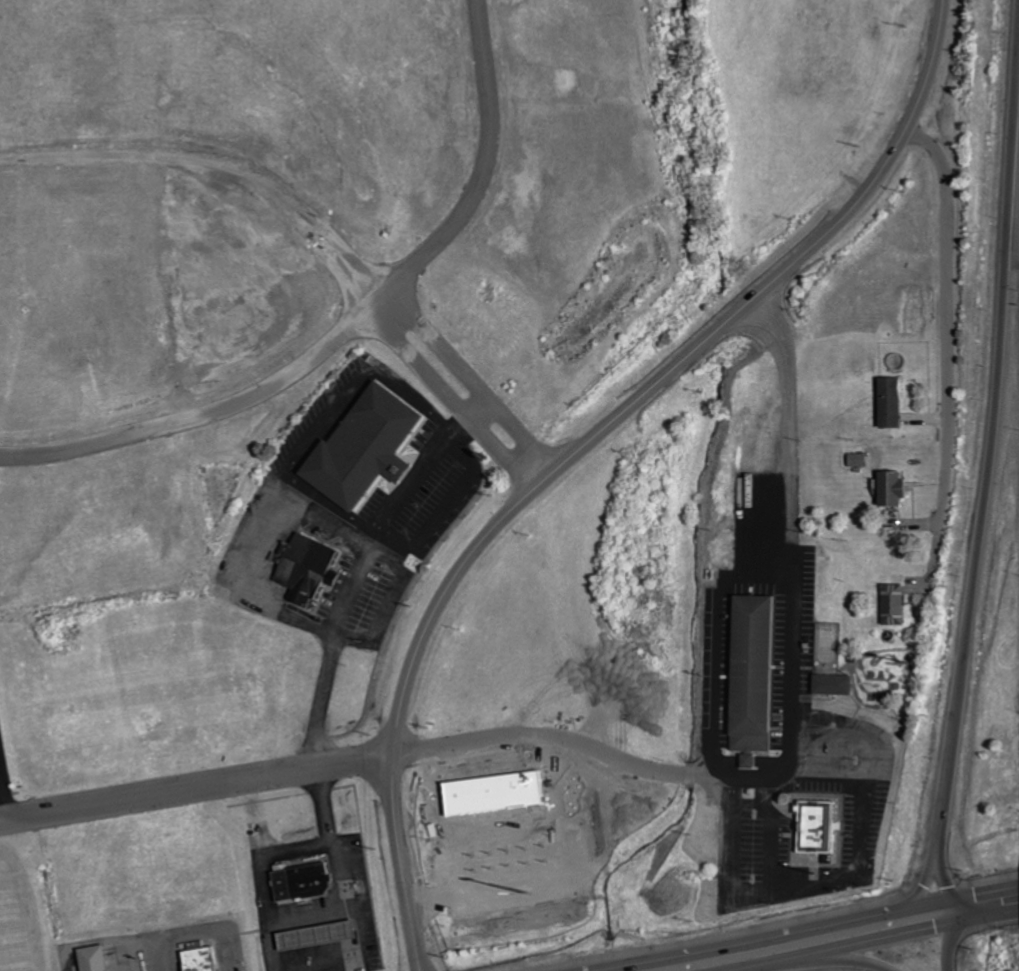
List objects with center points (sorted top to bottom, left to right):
road: (930, 66)
road: (220, 163)
road: (476, 171)
road: (950, 339)
road: (303, 359)
building: (888, 403)
road: (613, 421)
building: (370, 448)
road: (987, 466)
building: (888, 488)
road: (791, 532)
building: (311, 570)
road: (359, 573)
building: (890, 605)
building: (752, 673)
building: (829, 685)
road: (404, 754)
road: (4, 792)
building: (473, 807)
building: (812, 826)
road: (401, 864)
building: (298, 881)
road: (926, 885)
road: (984, 898)
road: (988, 922)
road: (779, 937)
road: (951, 949)
road: (840, 950)
building: (89, 958)
building: (196, 959)
road: (838, 961)

